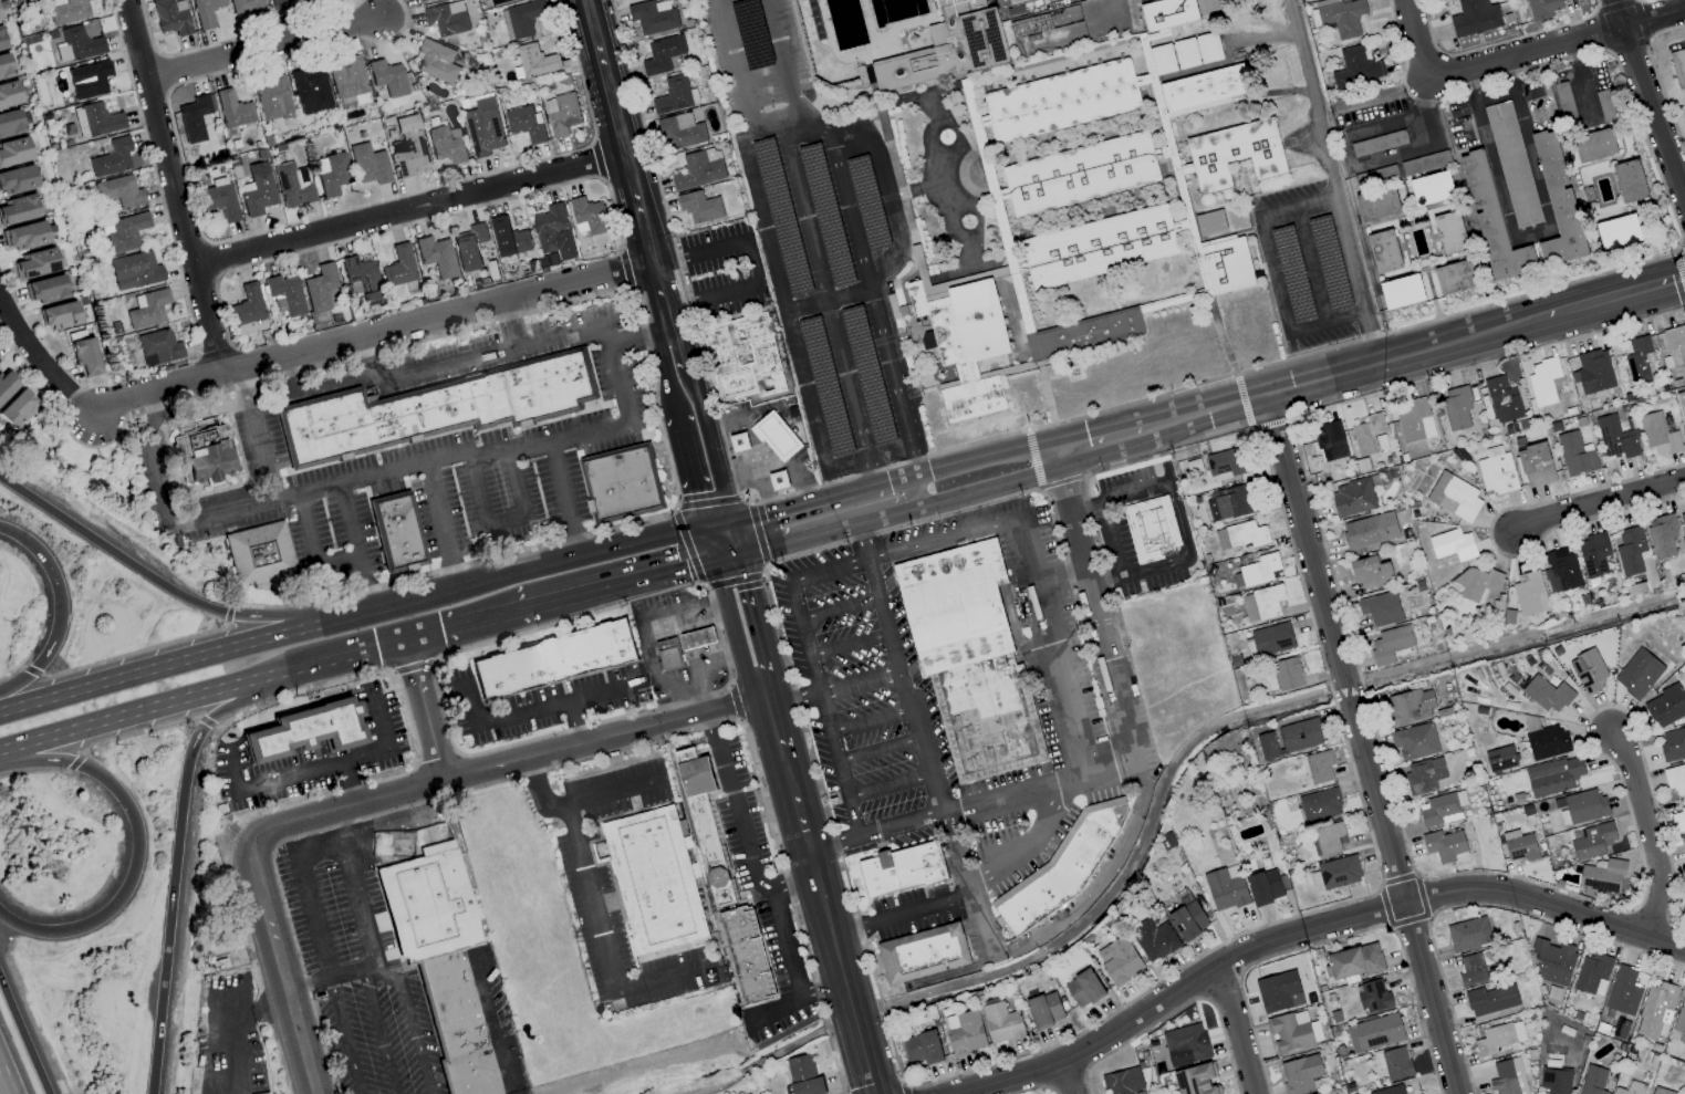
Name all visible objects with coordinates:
building: (419, 0)
road: (1633, 0)
building: (498, 1)
building: (1016, 1)
building: (281, 4)
road: (1595, 4)
building: (1206, 6)
road: (1614, 6)
building: (247, 7)
building: (1542, 8)
building: (67, 11)
building: (206, 12)
building: (1167, 13)
building: (1341, 15)
building: (171, 17)
building: (653, 17)
building: (0, 18)
building: (1474, 18)
building: (446, 19)
building: (521, 19)
road: (1640, 20)
building: (1031, 25)
road: (1600, 30)
road: (1416, 39)
building: (2, 40)
building: (80, 43)
road: (1490, 44)
road: (1556, 45)
road: (1626, 45)
building: (1207, 48)
building: (887, 49)
road: (264, 50)
building: (1185, 53)
building: (662, 54)
building: (1162, 59)
building: (436, 61)
building: (535, 61)
building: (6, 65)
building: (1678, 67)
road: (777, 69)
building: (1355, 69)
road: (1577, 75)
building: (347, 77)
building: (388, 77)
building: (90, 80)
road: (1456, 85)
road: (1474, 86)
building: (1204, 90)
building: (312, 91)
building: (9, 94)
building: (675, 95)
building: (273, 100)
building: (1563, 100)
building: (1061, 101)
road: (1647, 104)
building: (1604, 106)
building: (233, 110)
building: (561, 114)
building: (195, 117)
building: (96, 119)
road: (767, 119)
building: (10, 123)
building: (524, 124)
building: (483, 127)
building: (680, 132)
road: (620, 135)
building: (446, 144)
building: (1379, 144)
building: (408, 146)
building: (1594, 146)
building: (14, 150)
building: (1235, 154)
building: (112, 158)
building: (1425, 163)
building: (368, 164)
road: (1366, 164)
building: (1512, 165)
building: (699, 169)
building: (331, 174)
building: (1078, 175)
building: (18, 179)
road: (840, 181)
road: (1332, 181)
building: (1630, 181)
building: (293, 185)
building: (1432, 188)
road: (175, 189)
building: (258, 189)
building: (119, 191)
road: (885, 191)
building: (220, 201)
building: (866, 202)
building: (1377, 204)
building: (1558, 204)
building: (699, 207)
building: (18, 210)
road: (409, 212)
building: (825, 213)
building: (587, 217)
building: (781, 217)
building: (1492, 220)
building: (1210, 222)
road: (1550, 231)
building: (124, 232)
building: (553, 232)
building: (1449, 232)
building: (1619, 232)
building: (24, 236)
building: (509, 238)
parking lot: (820, 240)
building: (1099, 247)
building: (469, 248)
building: (1383, 251)
building: (437, 257)
road: (749, 261)
building: (35, 263)
building: (1227, 264)
building: (399, 265)
road: (774, 269)
building: (135, 271)
road: (1272, 275)
building: (1456, 277)
building: (361, 278)
building: (320, 286)
road: (661, 286)
building: (45, 289)
road: (846, 292)
building: (1402, 292)
building: (285, 295)
road: (1614, 295)
road: (824, 298)
road: (805, 304)
building: (148, 309)
building: (60, 315)
building: (249, 315)
road: (668, 316)
road: (511, 333)
building: (1083, 334)
road: (639, 335)
road: (373, 341)
building: (963, 342)
building: (1675, 345)
building: (159, 347)
building: (85, 355)
building: (720, 355)
road: (37, 358)
building: (1639, 361)
road: (694, 364)
road: (890, 364)
road: (368, 367)
building: (0, 368)
road: (666, 372)
road: (1352, 372)
building: (1593, 372)
building: (867, 375)
road: (431, 377)
building: (1542, 382)
building: (7, 384)
building: (824, 386)
building: (1502, 399)
building: (18, 408)
building: (1456, 408)
building: (429, 414)
building: (1682, 416)
building: (1414, 420)
building: (1660, 433)
building: (1369, 435)
building: (776, 437)
road: (259, 438)
road: (1117, 438)
building: (1615, 438)
building: (1329, 440)
building: (738, 445)
building: (1575, 455)
road: (990, 456)
building: (205, 459)
road: (444, 460)
road: (903, 462)
road: (150, 463)
road: (720, 463)
building: (1225, 463)
building: (1536, 465)
road: (669, 467)
road: (690, 471)
road: (870, 471)
building: (1496, 471)
building: (778, 482)
road: (890, 482)
road: (998, 485)
building: (626, 486)
road: (911, 492)
road: (1134, 492)
building: (1454, 497)
building: (1352, 498)
road: (565, 500)
road: (742, 501)
road: (706, 502)
road: (804, 503)
building: (1228, 503)
road: (1598, 503)
road: (886, 515)
road: (503, 519)
traffic signals: (736, 521)
building: (1683, 521)
road: (720, 523)
traffic signals: (705, 525)
road: (441, 527)
building: (1370, 530)
building: (1153, 531)
road: (977, 533)
road: (757, 534)
building: (403, 535)
building: (1240, 535)
building: (1662, 536)
road: (801, 539)
road: (1112, 540)
road: (709, 542)
building: (1453, 544)
road: (313, 546)
road: (688, 546)
road: (1082, 549)
building: (1630, 551)
road: (1187, 552)
traffic signals: (745, 554)
building: (1593, 554)
road: (729, 556)
building: (266, 558)
road: (354, 558)
traffic signals: (714, 559)
road: (763, 570)
building: (1260, 570)
building: (1561, 570)
building: (1371, 573)
road: (1063, 574)
road: (810, 577)
road: (731, 580)
road: (719, 582)
building: (1476, 583)
road: (618, 584)
road: (690, 584)
building: (1528, 592)
road: (755, 598)
road: (183, 600)
building: (1261, 604)
road: (839, 608)
building: (1381, 608)
road: (60, 612)
road: (351, 616)
road: (483, 622)
road: (730, 627)
road: (645, 631)
road: (803, 637)
road: (425, 638)
building: (698, 639)
gas station: (698, 639)
building: (1271, 639)
road: (847, 644)
building: (1390, 644)
building: (669, 658)
building: (969, 658)
building: (552, 661)
road: (708, 663)
road: (741, 668)
building: (1588, 671)
road: (812, 674)
building: (1637, 674)
building: (1282, 675)
road: (1061, 679)
road: (859, 684)
road: (761, 687)
road: (202, 692)
building: (1547, 695)
road: (790, 696)
road: (698, 700)
road: (735, 705)
building: (1666, 705)
building: (1408, 707)
road: (427, 710)
road: (533, 711)
road: (1125, 711)
road: (822, 713)
road: (576, 722)
road: (870, 722)
building: (305, 732)
building: (1300, 736)
road: (920, 741)
building: (1414, 741)
building: (1547, 742)
building: (1673, 744)
road: (575, 746)
building: (1267, 746)
road: (1359, 746)
road: (877, 752)
building: (1500, 759)
building: (1319, 767)
road: (318, 773)
road: (786, 775)
building: (1424, 775)
building: (1553, 777)
building: (1675, 779)
road: (349, 785)
road: (542, 786)
road: (840, 786)
road: (887, 788)
road: (398, 791)
road: (610, 794)
building: (1460, 801)
building: (1319, 804)
building: (1584, 806)
road: (971, 808)
building: (1439, 811)
building: (1678, 819)
road: (1647, 835)
building: (1328, 840)
building: (1591, 840)
road: (177, 843)
building: (1683, 843)
building: (1444, 846)
building: (1519, 846)
road: (136, 851)
road: (310, 851)
road: (748, 858)
building: (1061, 867)
building: (901, 869)
building: (1335, 873)
building: (1602, 876)
building: (727, 878)
road: (1094, 882)
building: (659, 884)
building: (1263, 887)
road: (792, 888)
road: (357, 889)
building: (1224, 890)
road: (969, 895)
road: (262, 914)
building: (1188, 920)
road: (1312, 928)
building: (1468, 934)
building: (1154, 939)
road: (601, 947)
building: (923, 952)
building: (440, 959)
building: (1119, 960)
building: (1354, 961)
building: (1553, 961)
building: (1475, 968)
building: (1591, 972)
road: (838, 973)
road: (324, 980)
building: (1083, 989)
building: (1624, 991)
road: (820, 992)
building: (1278, 992)
building: (1373, 997)
building: (1490, 999)
building: (1044, 1010)
building: (1656, 1010)
road: (770, 1018)
road: (412, 1019)
building: (1681, 1020)
building: (1001, 1022)
road: (230, 1025)
road: (496, 1028)
road: (381, 1031)
road: (1230, 1031)
building: (1293, 1031)
building: (965, 1032)
building: (1374, 1032)
road: (23, 1035)
road: (345, 1036)
building: (1498, 1038)
building: (1186, 1045)
building: (922, 1048)
building: (1393, 1063)
road: (639, 1065)
building: (1300, 1074)
building: (803, 1076)
road: (6, 1077)
building: (1508, 1077)
road: (1065, 1080)
building: (1197, 1080)
building: (1554, 1081)
building: (1592, 1081)
building: (1122, 1082)
building: (1631, 1088)
building: (1388, 1091)
building: (1660, 1091)
building: (1318, 1093)

